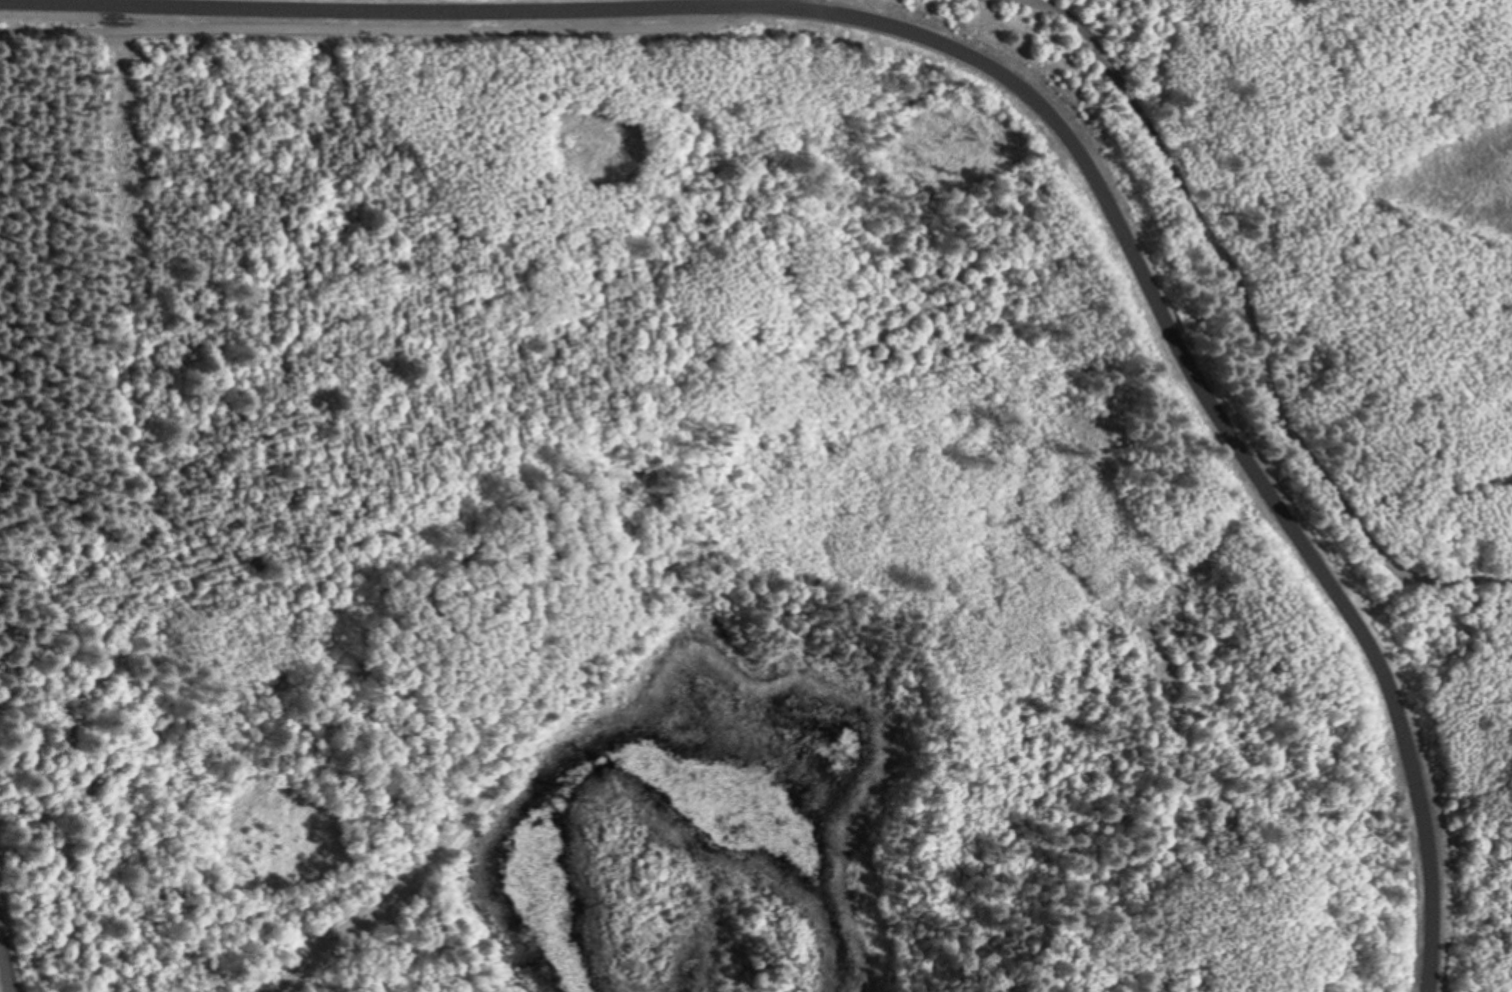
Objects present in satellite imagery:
road: (772, 3)
road: (388, 6)
road: (384, 28)
road: (1205, 404)
road: (0, 988)

